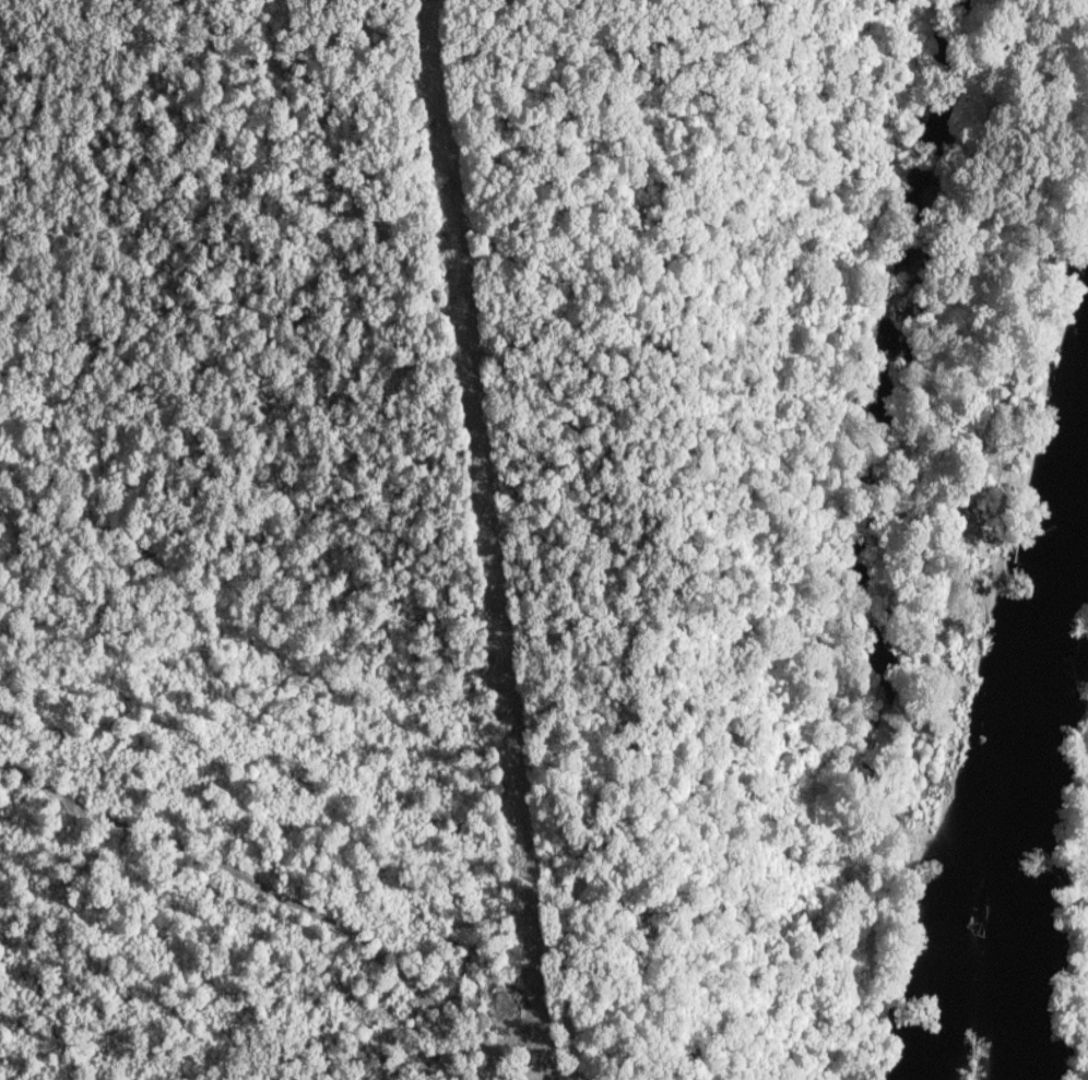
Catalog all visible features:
road: (560, 477)
river: (1045, 743)
road: (279, 901)

